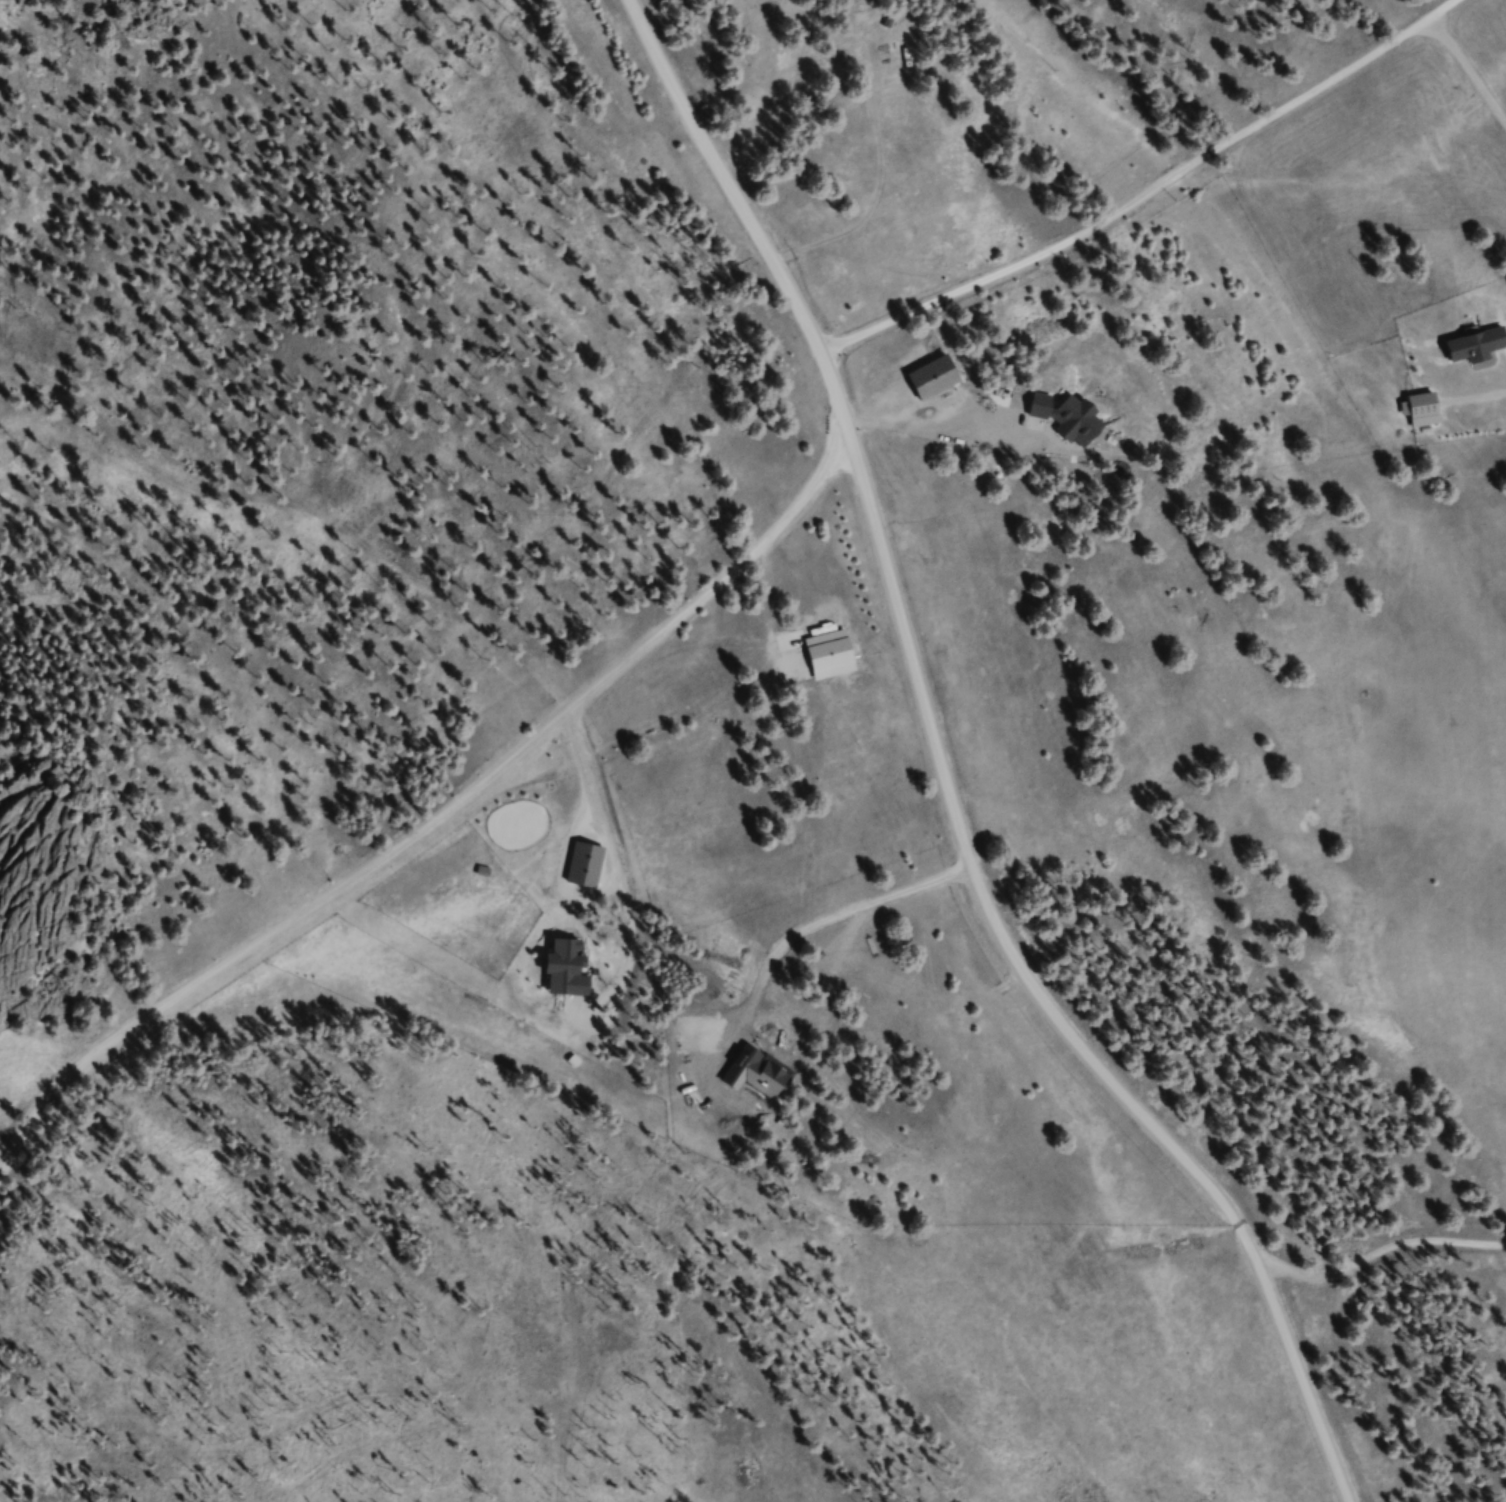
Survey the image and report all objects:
road: (1145, 197)
building: (1480, 350)
building: (941, 381)
building: (1429, 413)
building: (1074, 421)
building: (837, 653)
road: (939, 774)
road: (445, 814)

